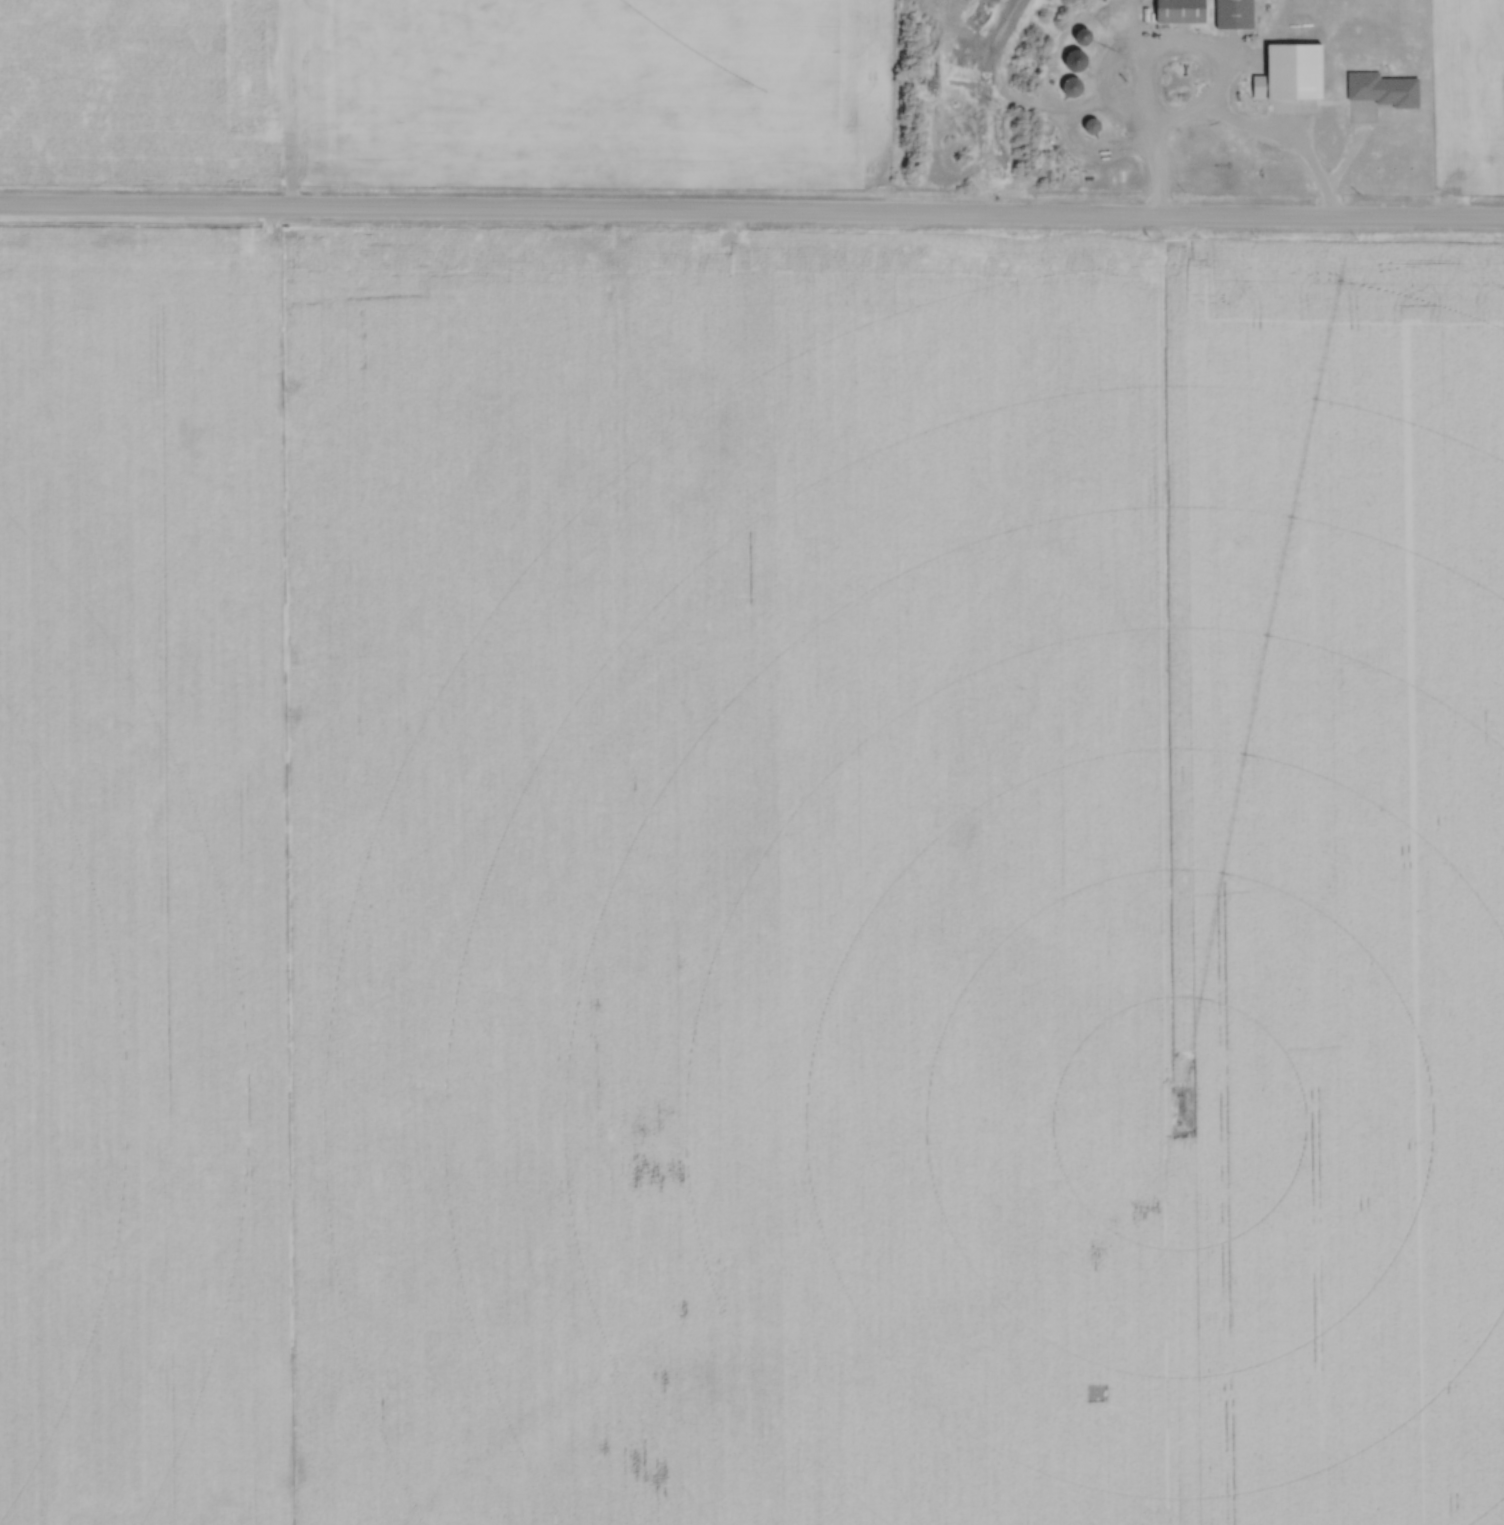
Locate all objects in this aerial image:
building: (1185, 12)
building: (1238, 14)
building: (1088, 36)
road: (1158, 52)
building: (1077, 60)
building: (1291, 75)
building: (1073, 86)
building: (1095, 127)
road: (1154, 174)
road: (752, 214)

